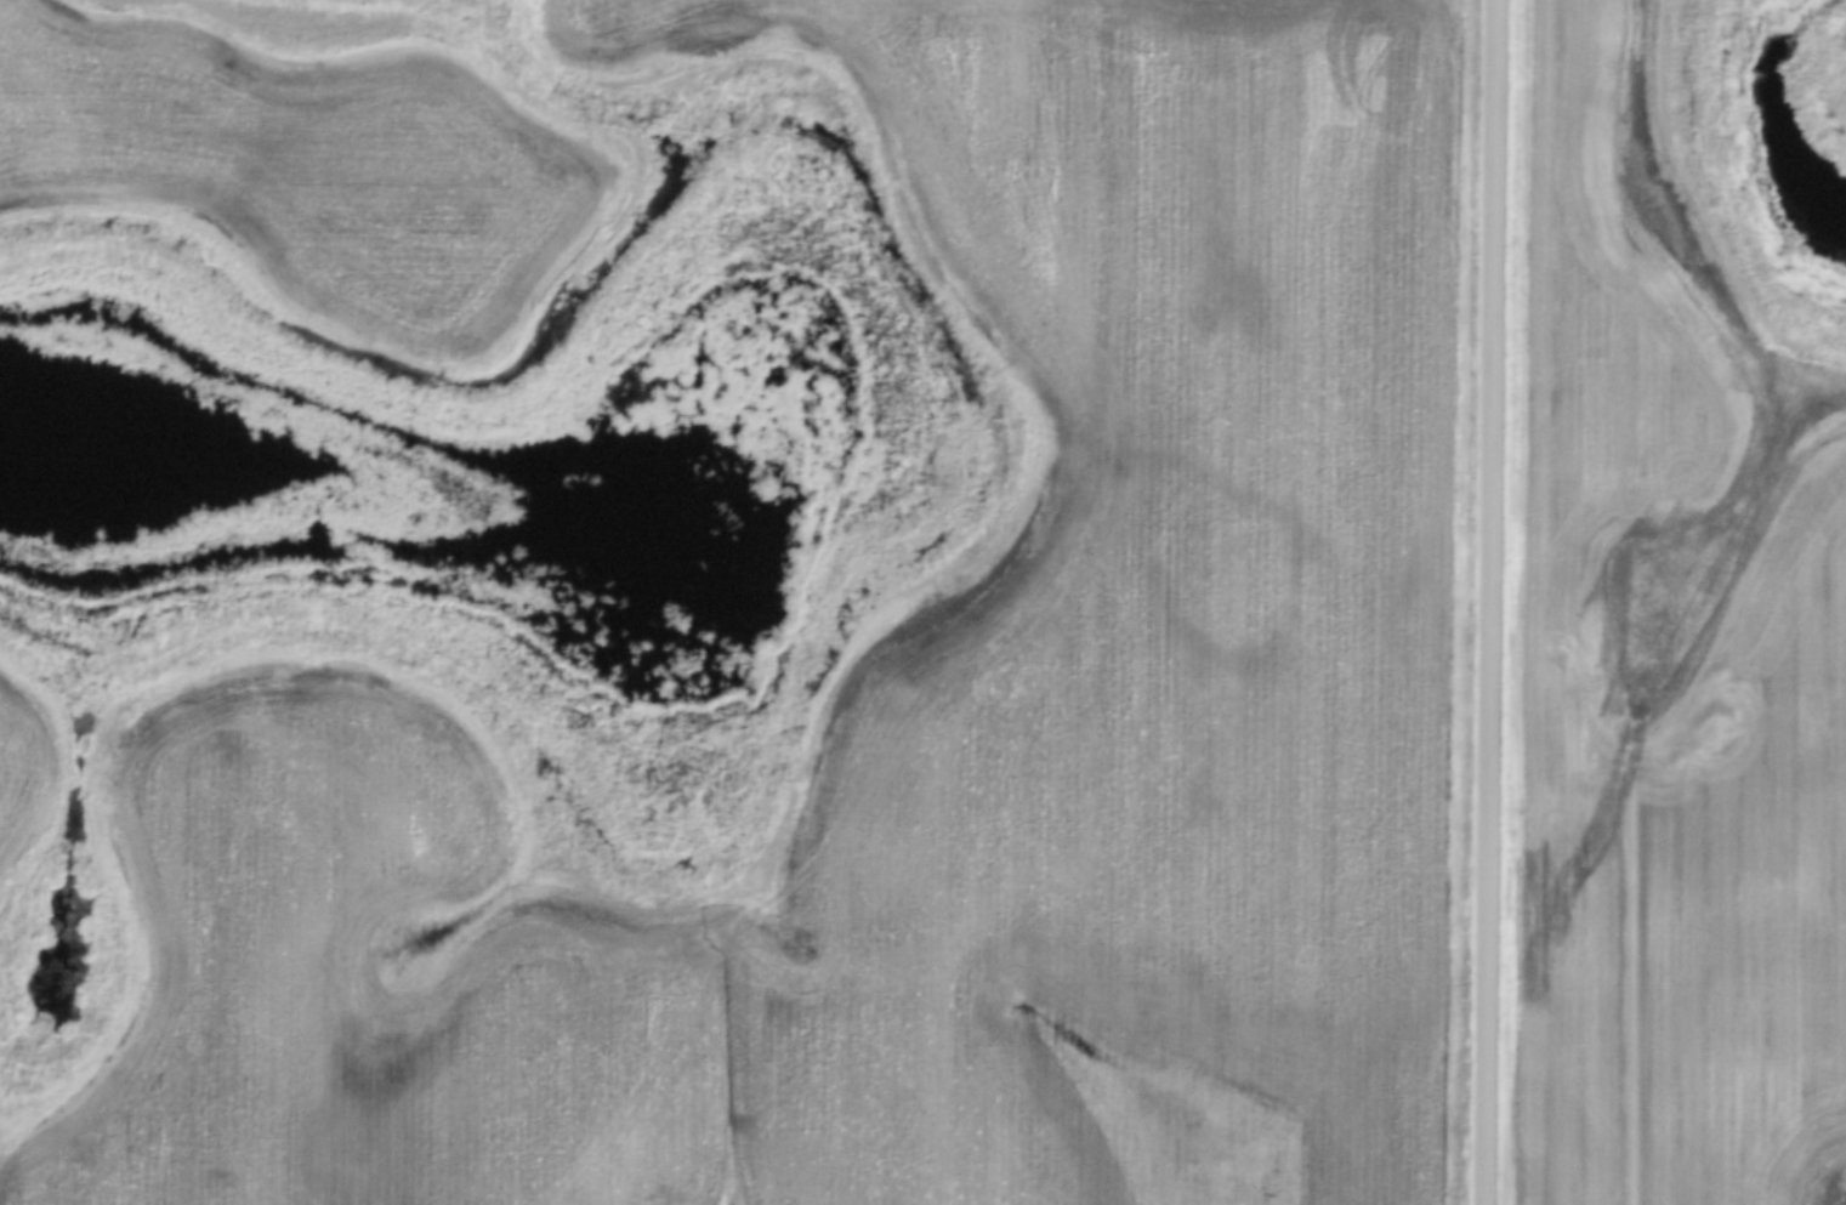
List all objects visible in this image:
road: (1501, 602)

